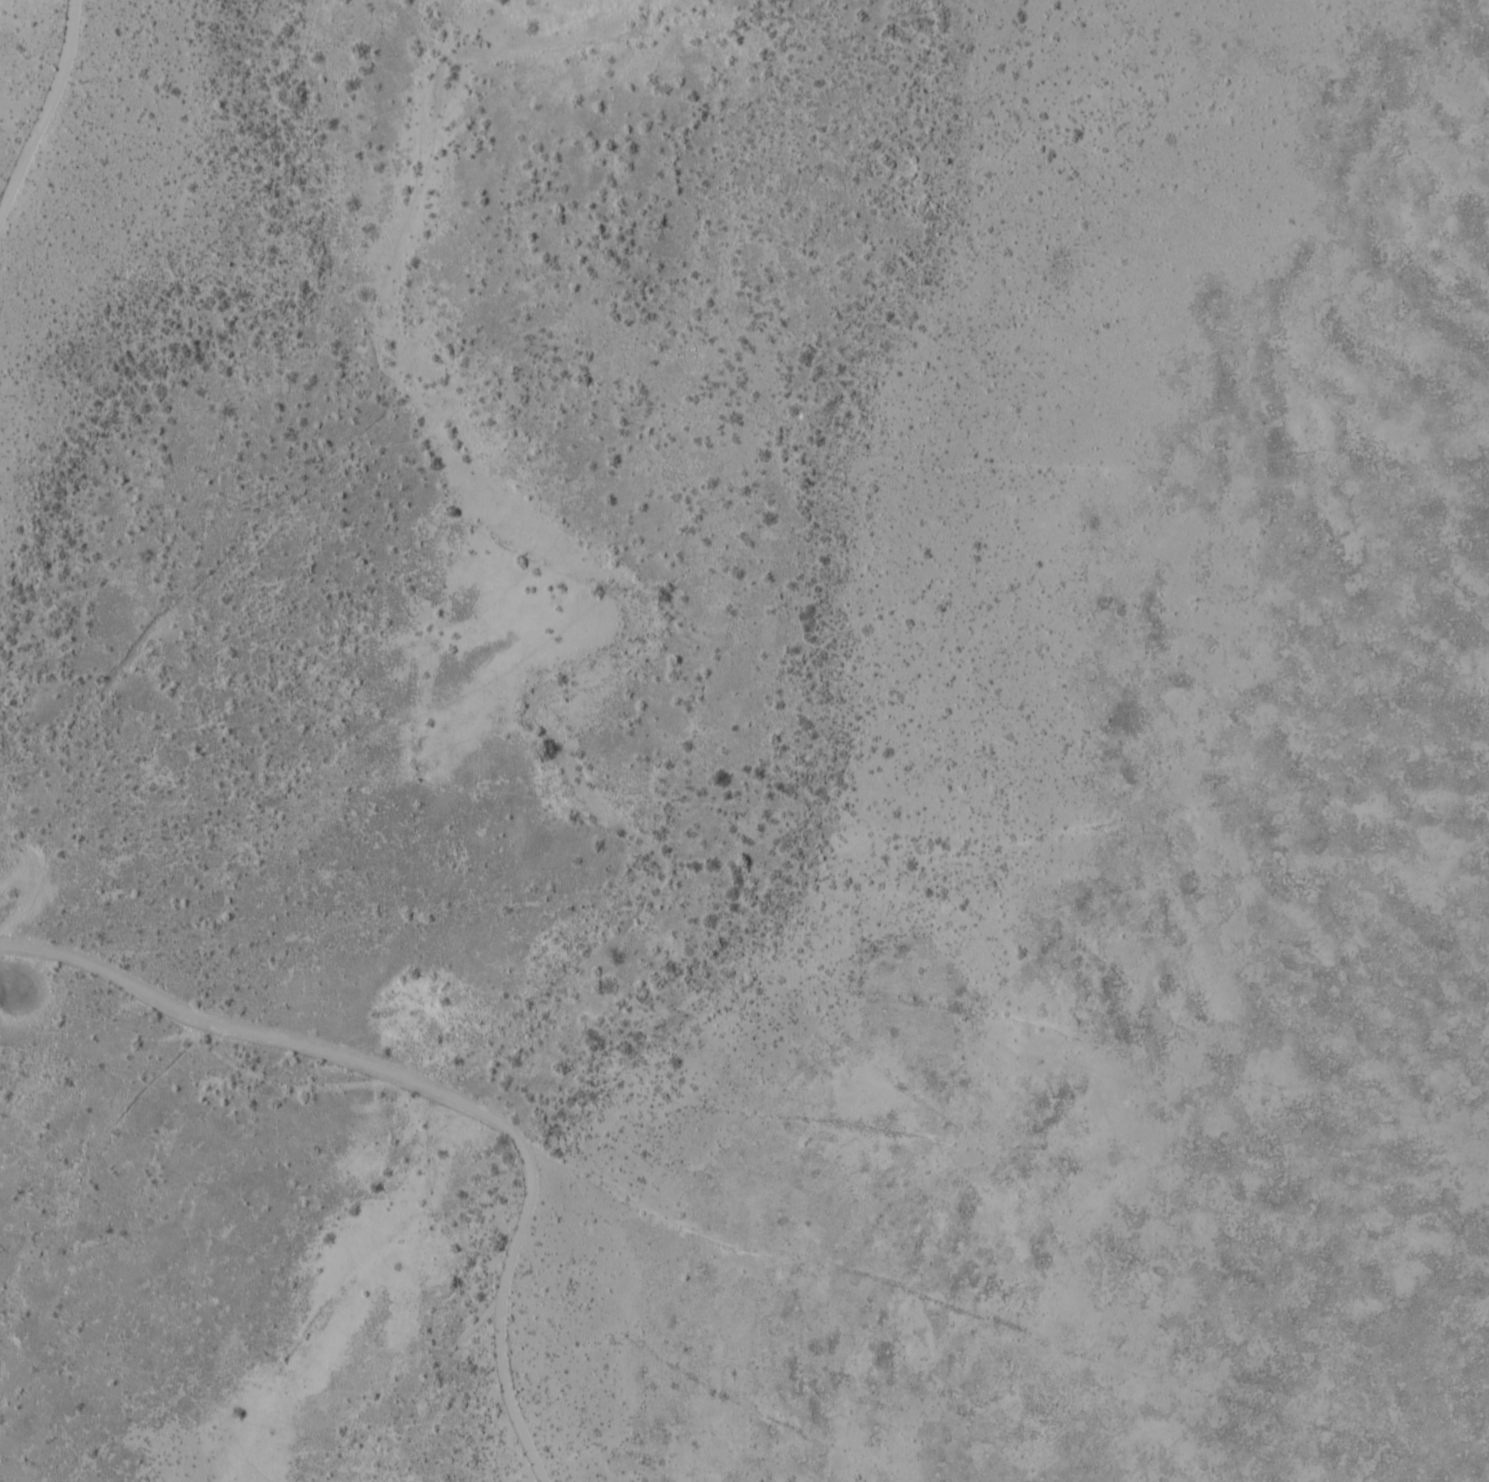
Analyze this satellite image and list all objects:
road: (15, 56)
road: (698, 945)

